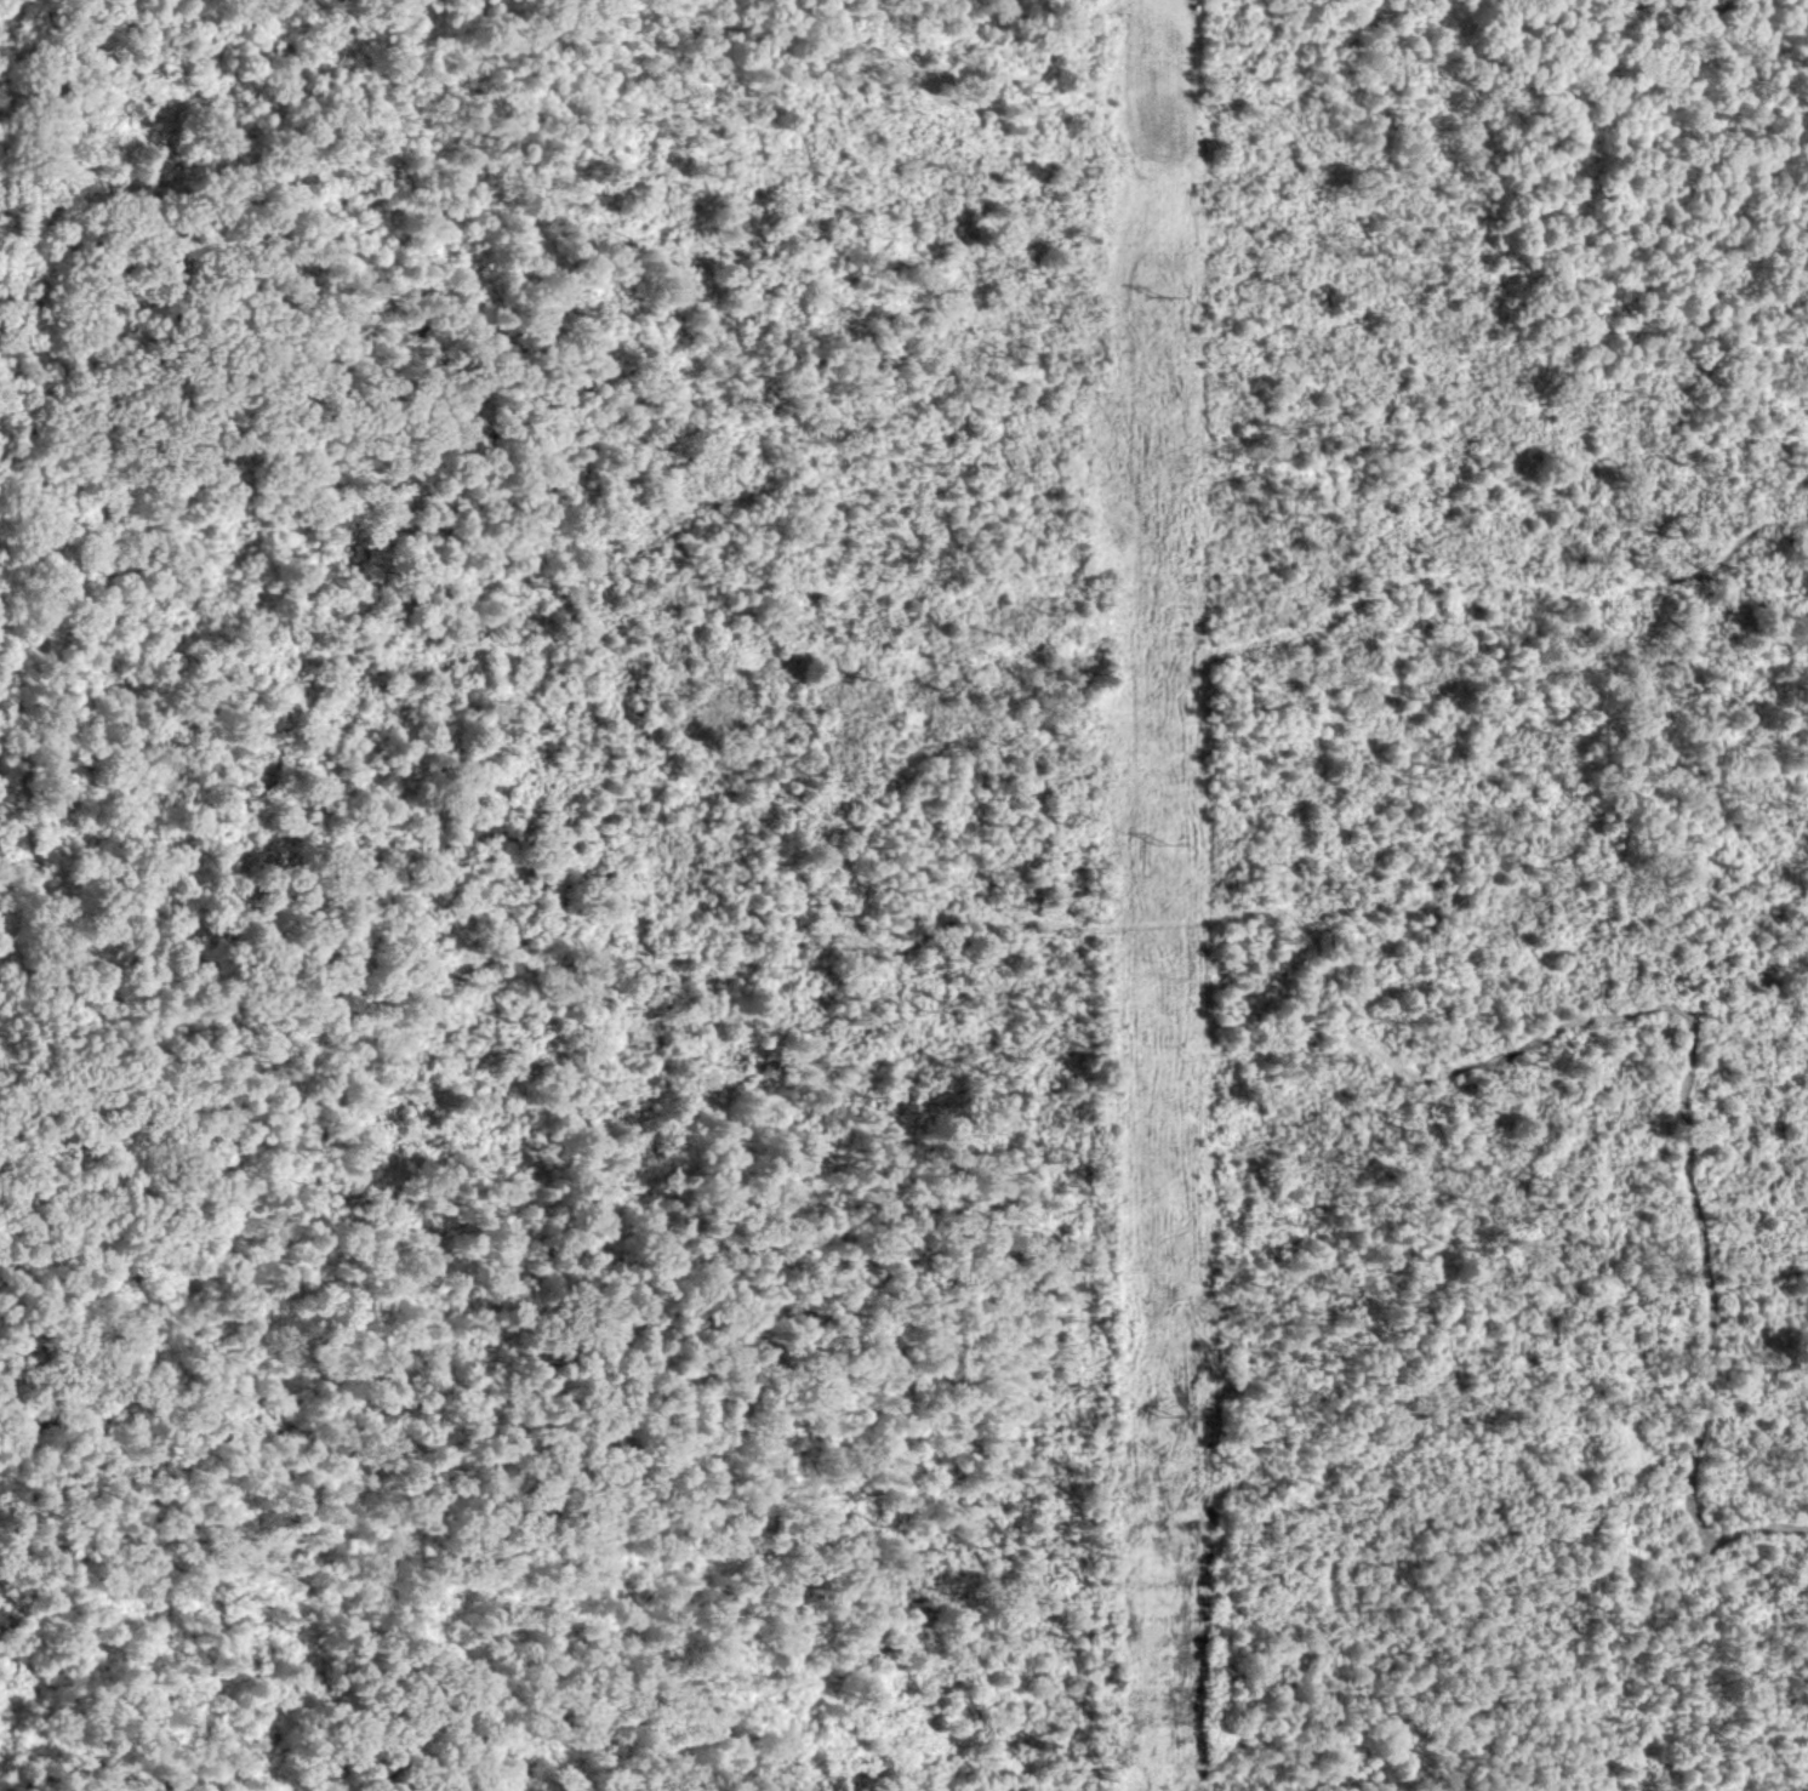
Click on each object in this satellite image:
power tower: (1142, 293)
power tower: (1145, 844)
power tower: (1150, 1418)

